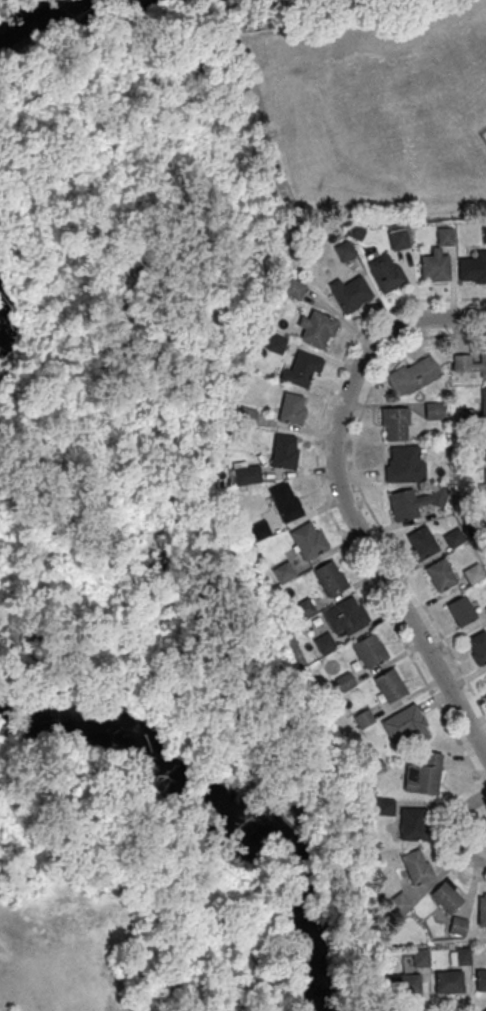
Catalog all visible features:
river: (41, 15)
building: (397, 236)
building: (344, 250)
building: (437, 258)
building: (472, 268)
building: (384, 271)
building: (293, 288)
building: (349, 293)
road: (419, 320)
building: (317, 329)
building: (274, 343)
building: (469, 364)
building: (300, 369)
building: (412, 374)
building: (482, 401)
building: (291, 408)
building: (433, 410)
building: (245, 415)
building: (394, 423)
building: (483, 443)
building: (283, 451)
building: (404, 463)
building: (244, 472)
building: (484, 485)
road: (361, 494)
building: (285, 501)
building: (415, 504)
building: (453, 537)
building: (306, 539)
building: (420, 542)
park: (152, 543)
road: (357, 562)
road: (375, 562)
building: (282, 571)
building: (472, 573)
building: (440, 574)
building: (329, 577)
building: (302, 608)
building: (460, 610)
building: (344, 615)
building: (22, 629)
building: (322, 643)
building: (477, 646)
building: (292, 647)
building: (367, 649)
building: (485, 678)
building: (342, 681)
building: (388, 685)
building: (361, 718)
building: (405, 724)
building: (422, 774)
river: (207, 799)
building: (382, 806)
building: (410, 824)
road: (456, 829)
building: (414, 866)
building: (443, 897)
building: (394, 904)
building: (480, 909)
building: (455, 926)
building: (458, 956)
building: (418, 957)
building: (480, 980)
building: (447, 981)
building: (404, 984)
river: (310, 993)

